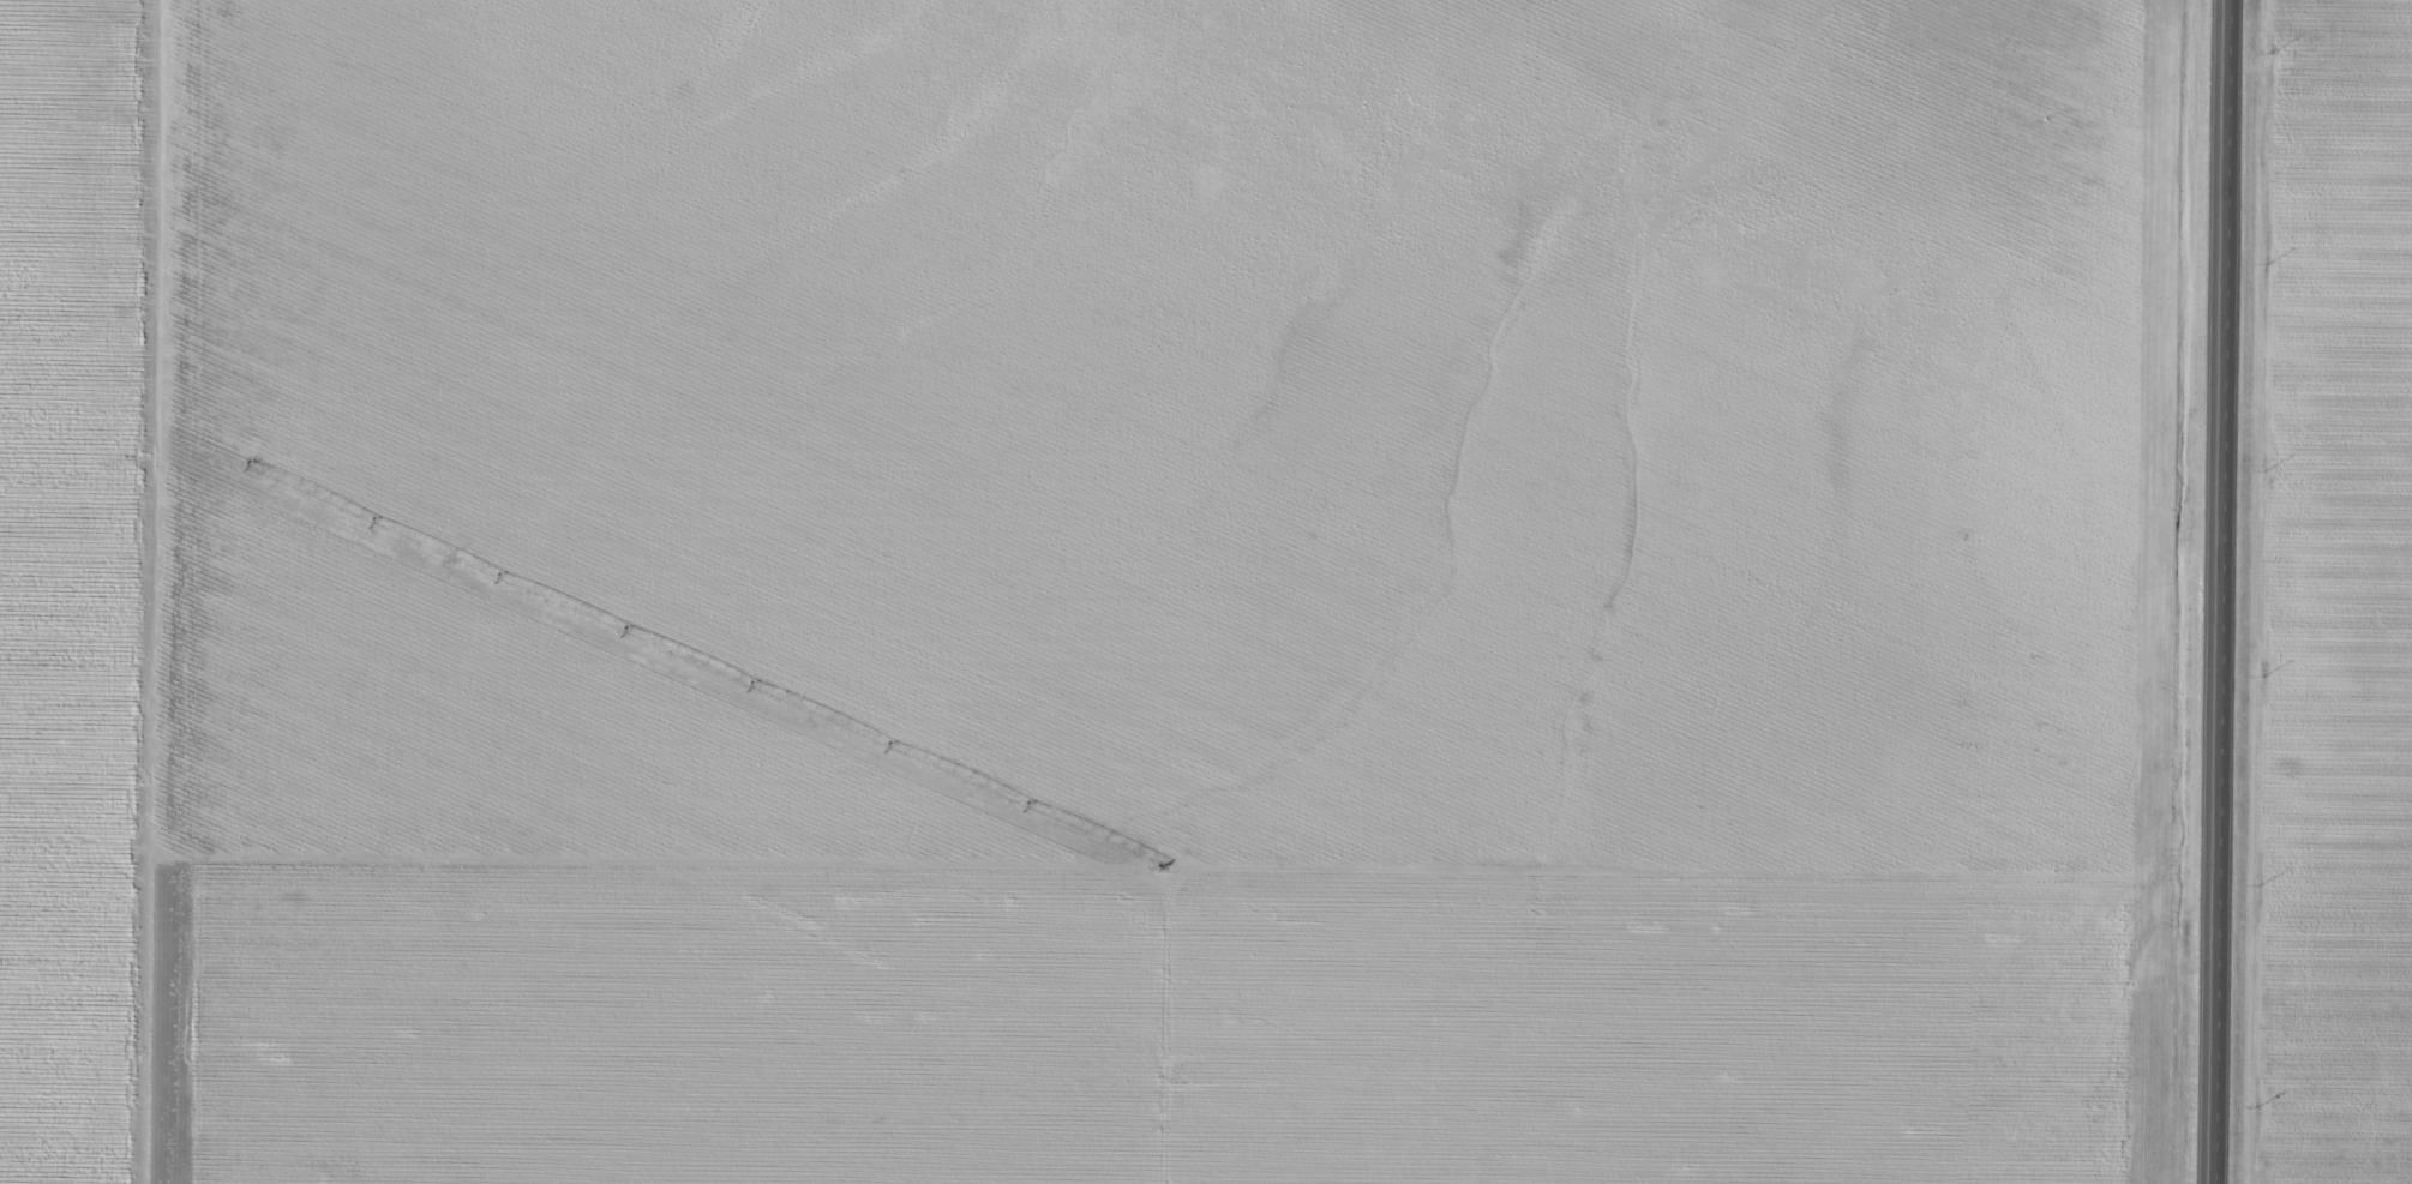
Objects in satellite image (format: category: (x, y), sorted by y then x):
road: (180, 591)
road: (2233, 591)

